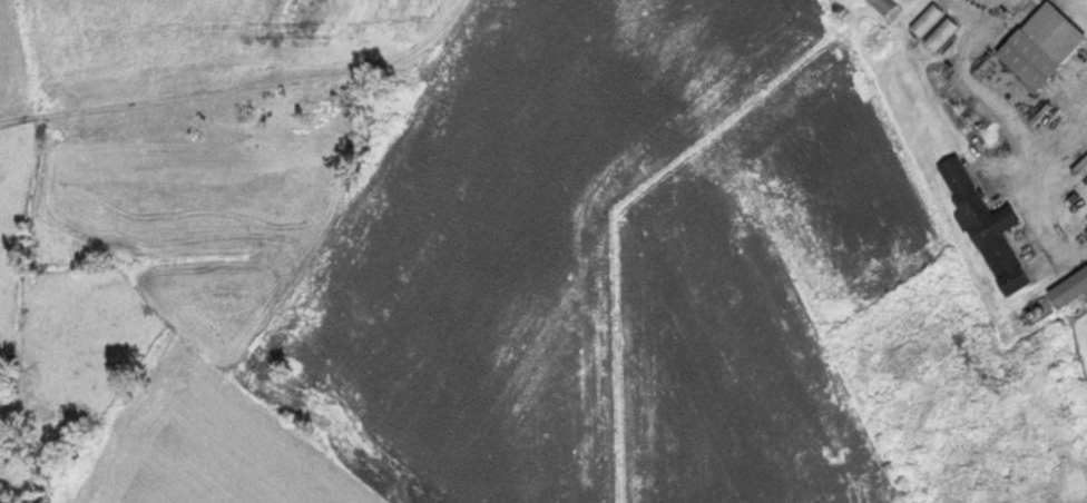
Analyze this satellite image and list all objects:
building: (882, 4)
road: (484, 16)
building: (932, 27)
building: (1039, 46)
road: (969, 150)
building: (985, 227)
building: (1067, 287)

